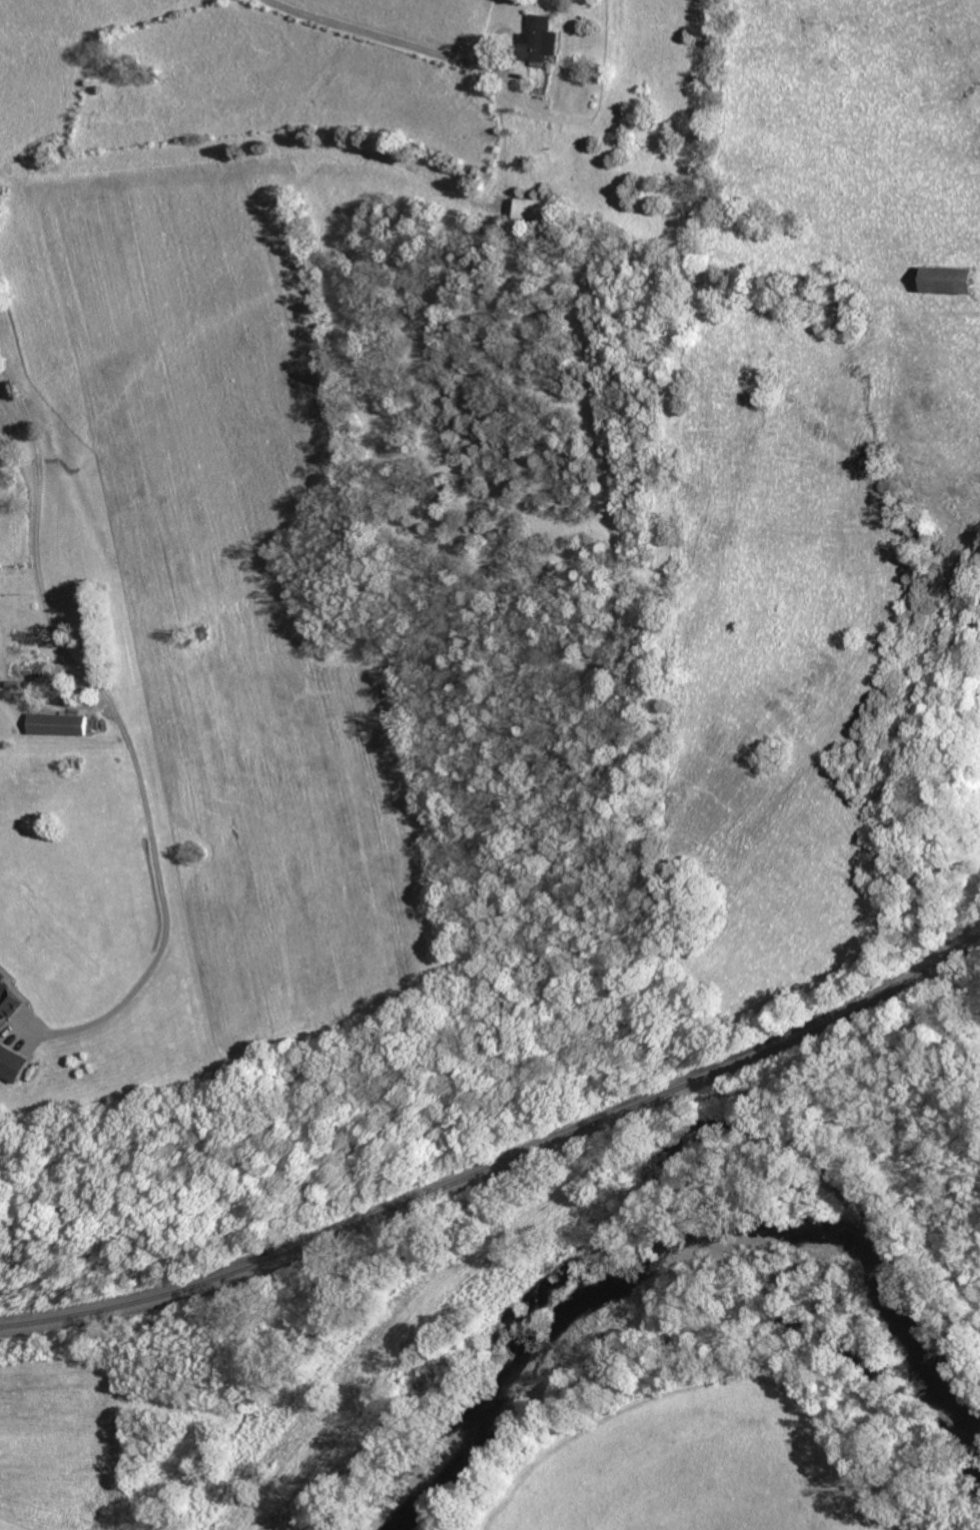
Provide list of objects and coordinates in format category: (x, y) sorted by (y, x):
road: (374, 34)
road: (514, 36)
building: (543, 37)
building: (954, 280)
road: (111, 710)
building: (61, 723)
building: (8, 995)
building: (13, 1062)
railway: (501, 1161)

